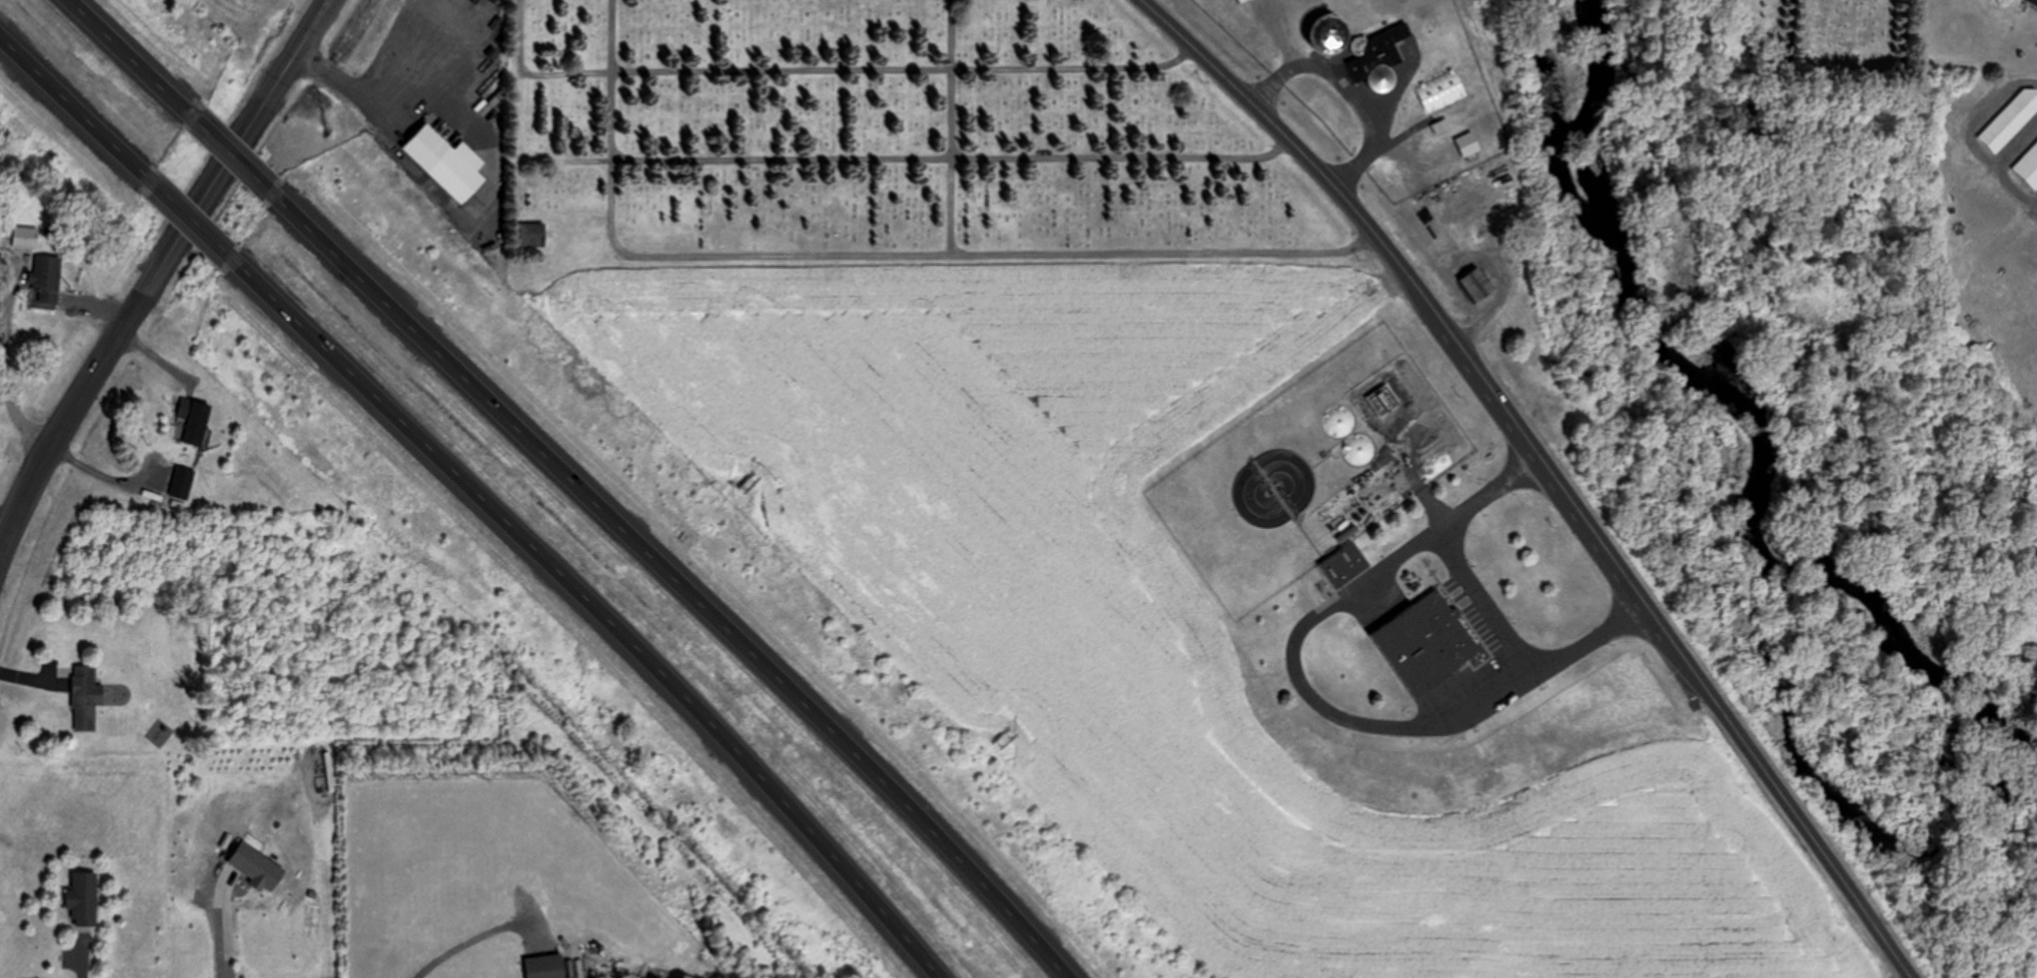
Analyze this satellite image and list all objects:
building: (1240, 1)
building: (2026, 1)
park: (1806, 36)
road: (134, 58)
building: (1381, 61)
road: (907, 72)
building: (1439, 91)
road: (1344, 92)
road: (69, 110)
building: (2010, 120)
road: (954, 125)
building: (1437, 128)
park: (891, 153)
road: (238, 157)
road: (827, 162)
building: (446, 163)
building: (2028, 167)
road: (188, 220)
building: (532, 235)
building: (24, 237)
road: (874, 252)
road: (157, 274)
building: (46, 278)
building: (1476, 285)
building: (193, 420)
road: (1548, 469)
building: (181, 482)
road: (7, 516)
building: (1343, 564)
road: (682, 582)
road: (1480, 606)
road: (591, 613)
crop: (1181, 638)
building: (1426, 643)
building: (85, 698)
road: (1311, 700)
building: (83, 899)
building: (545, 967)

